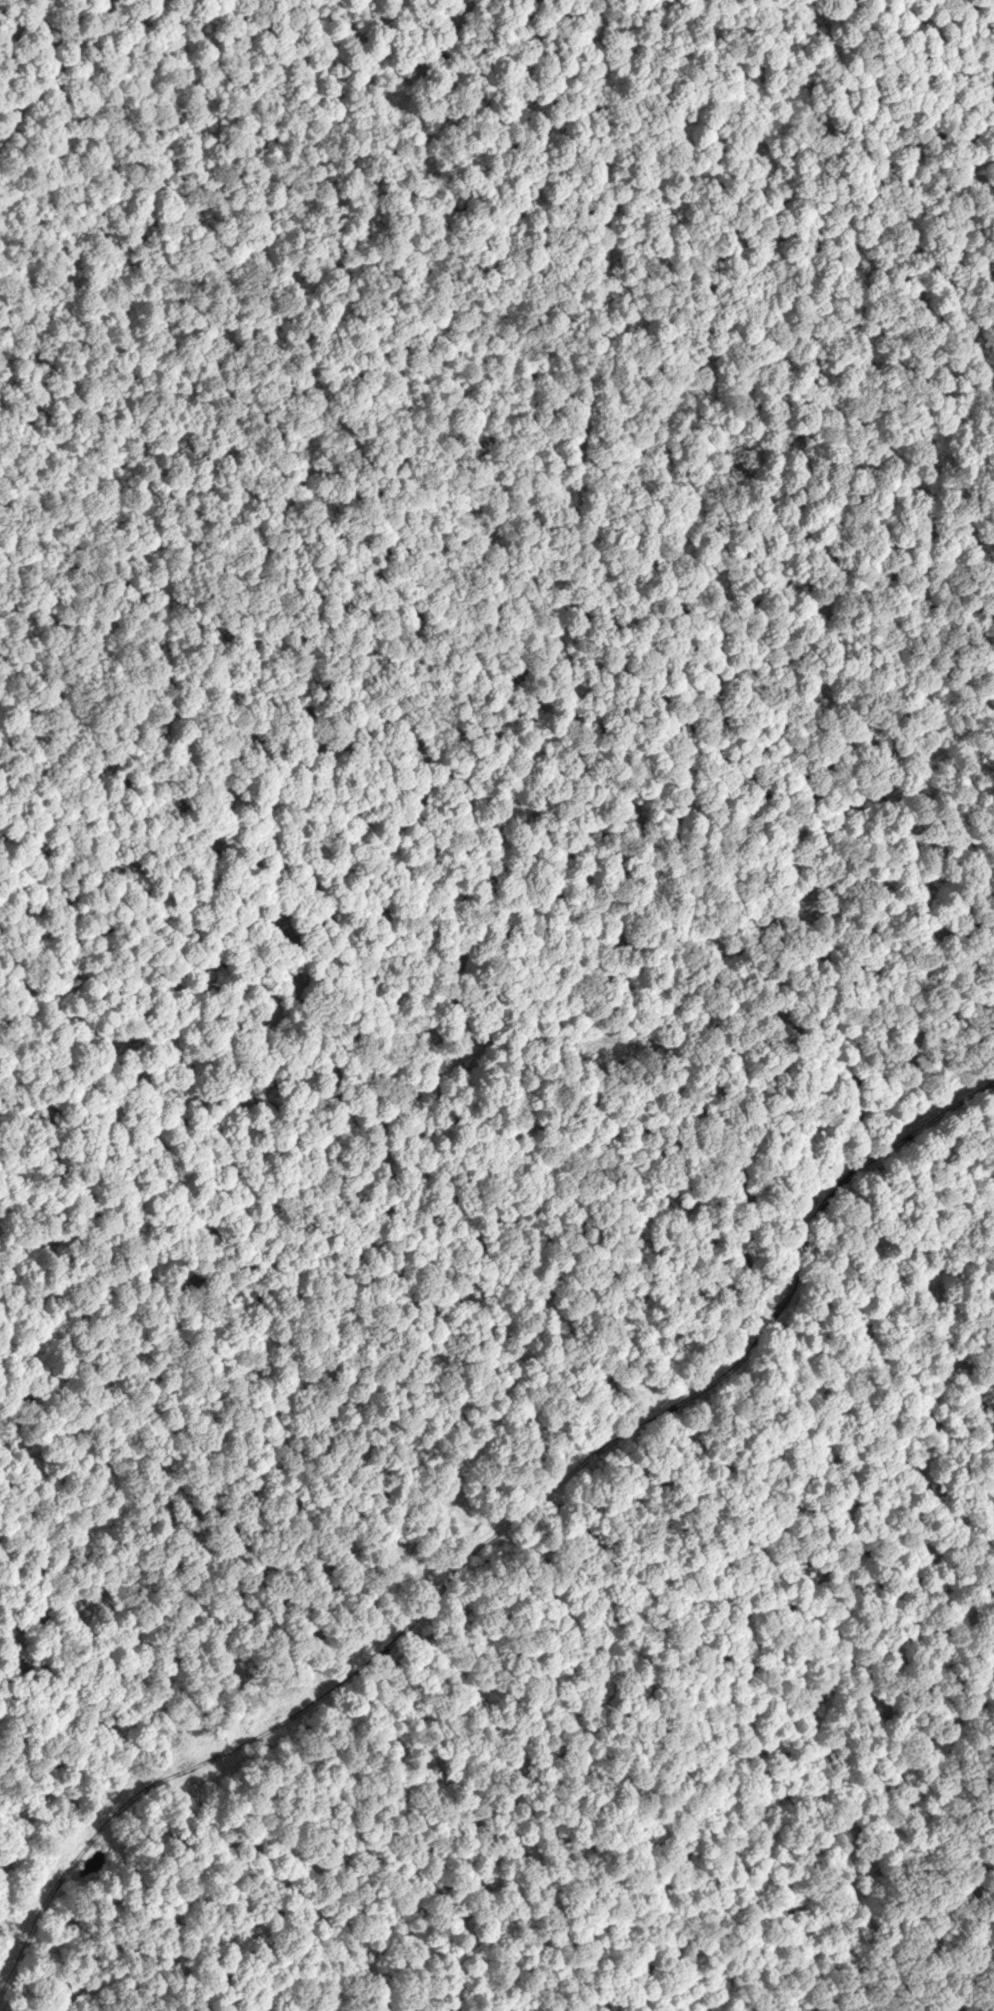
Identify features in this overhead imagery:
road: (494, 1516)

